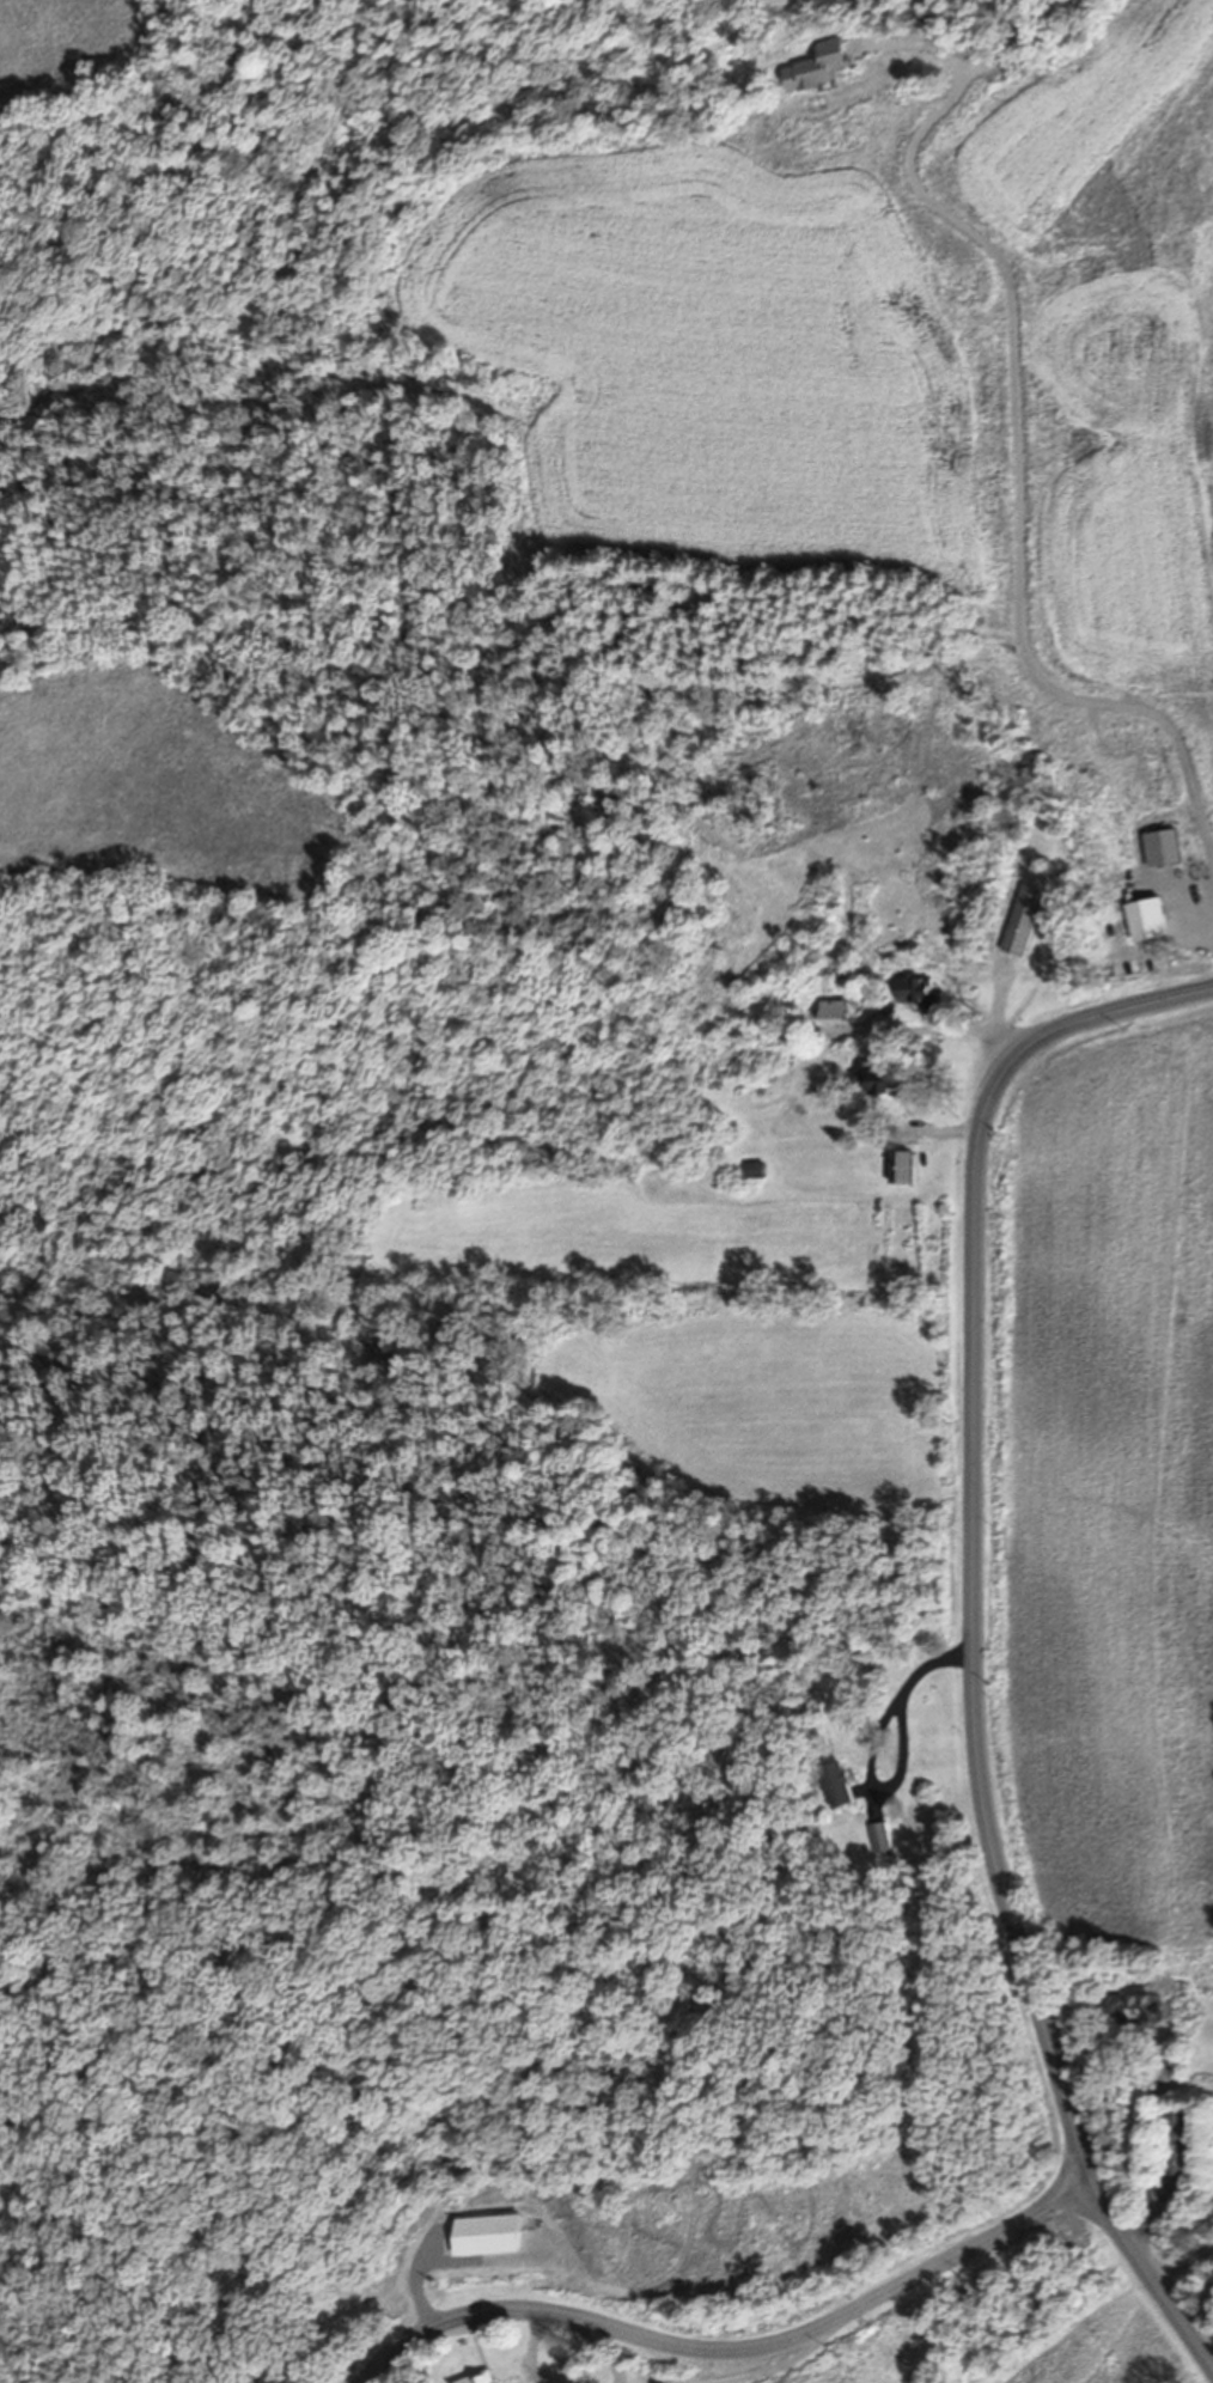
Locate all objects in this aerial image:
building: (1163, 846)
building: (1028, 919)
building: (921, 991)
building: (835, 1008)
building: (883, 1077)
building: (903, 1164)
building: (755, 1166)
road: (973, 1631)
building: (841, 1782)
building: (884, 1835)
building: (1136, 2005)
building: (1177, 2140)
building: (488, 2237)
building: (1029, 2315)
road: (531, 2346)
road: (738, 2351)
road: (773, 2366)
building: (481, 2378)

